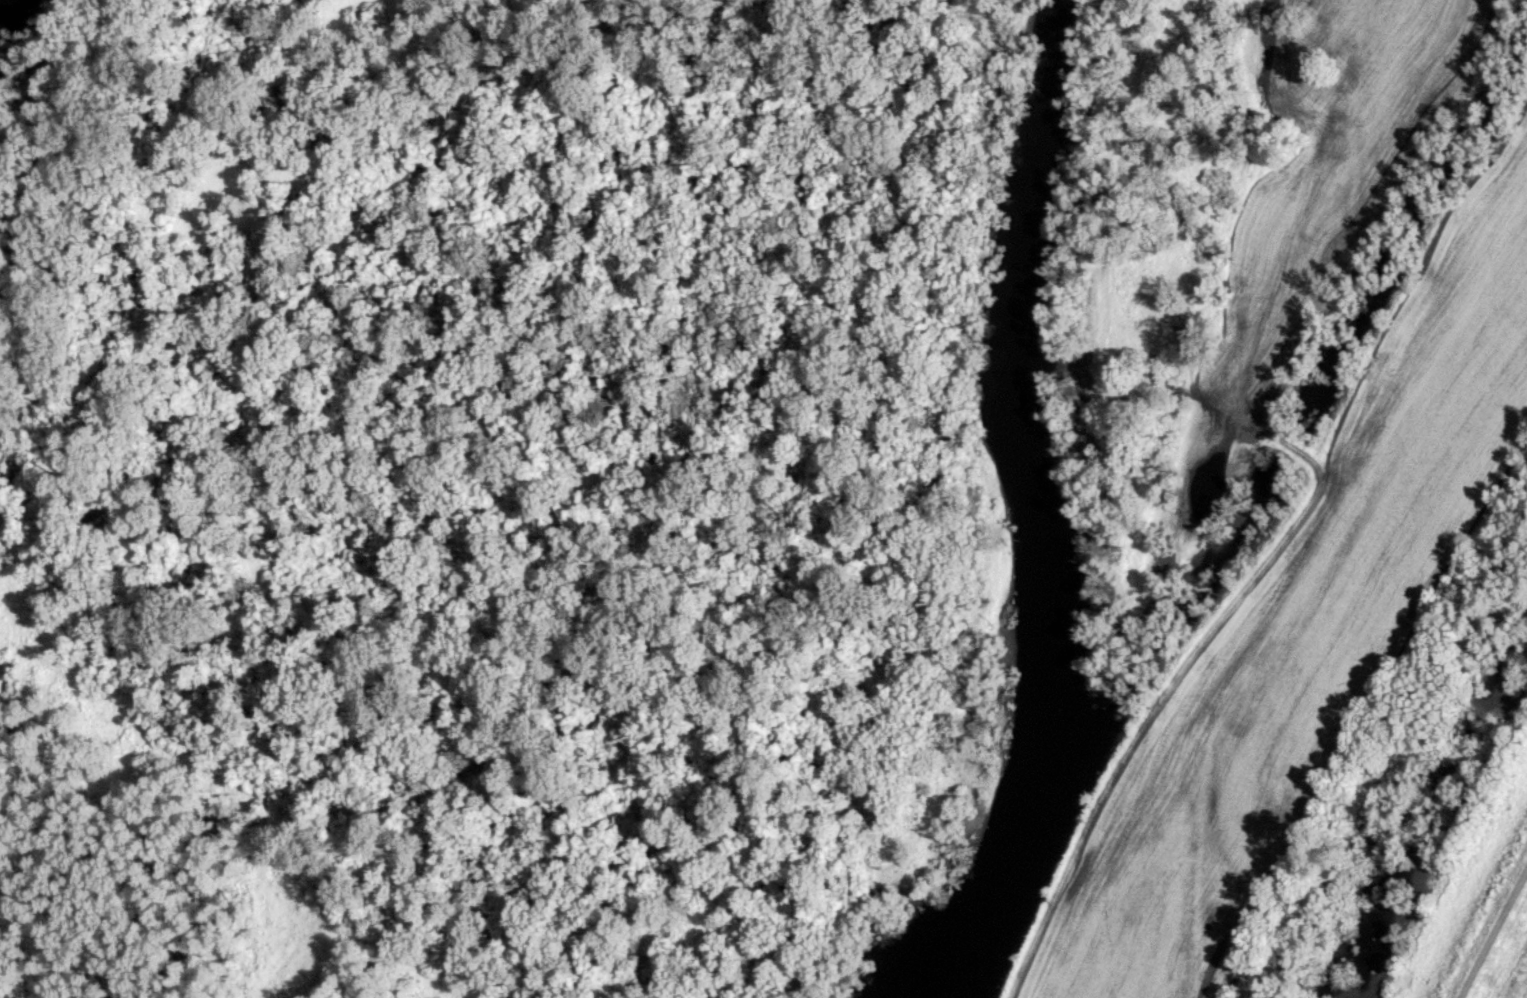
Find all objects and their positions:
road: (1493, 933)

